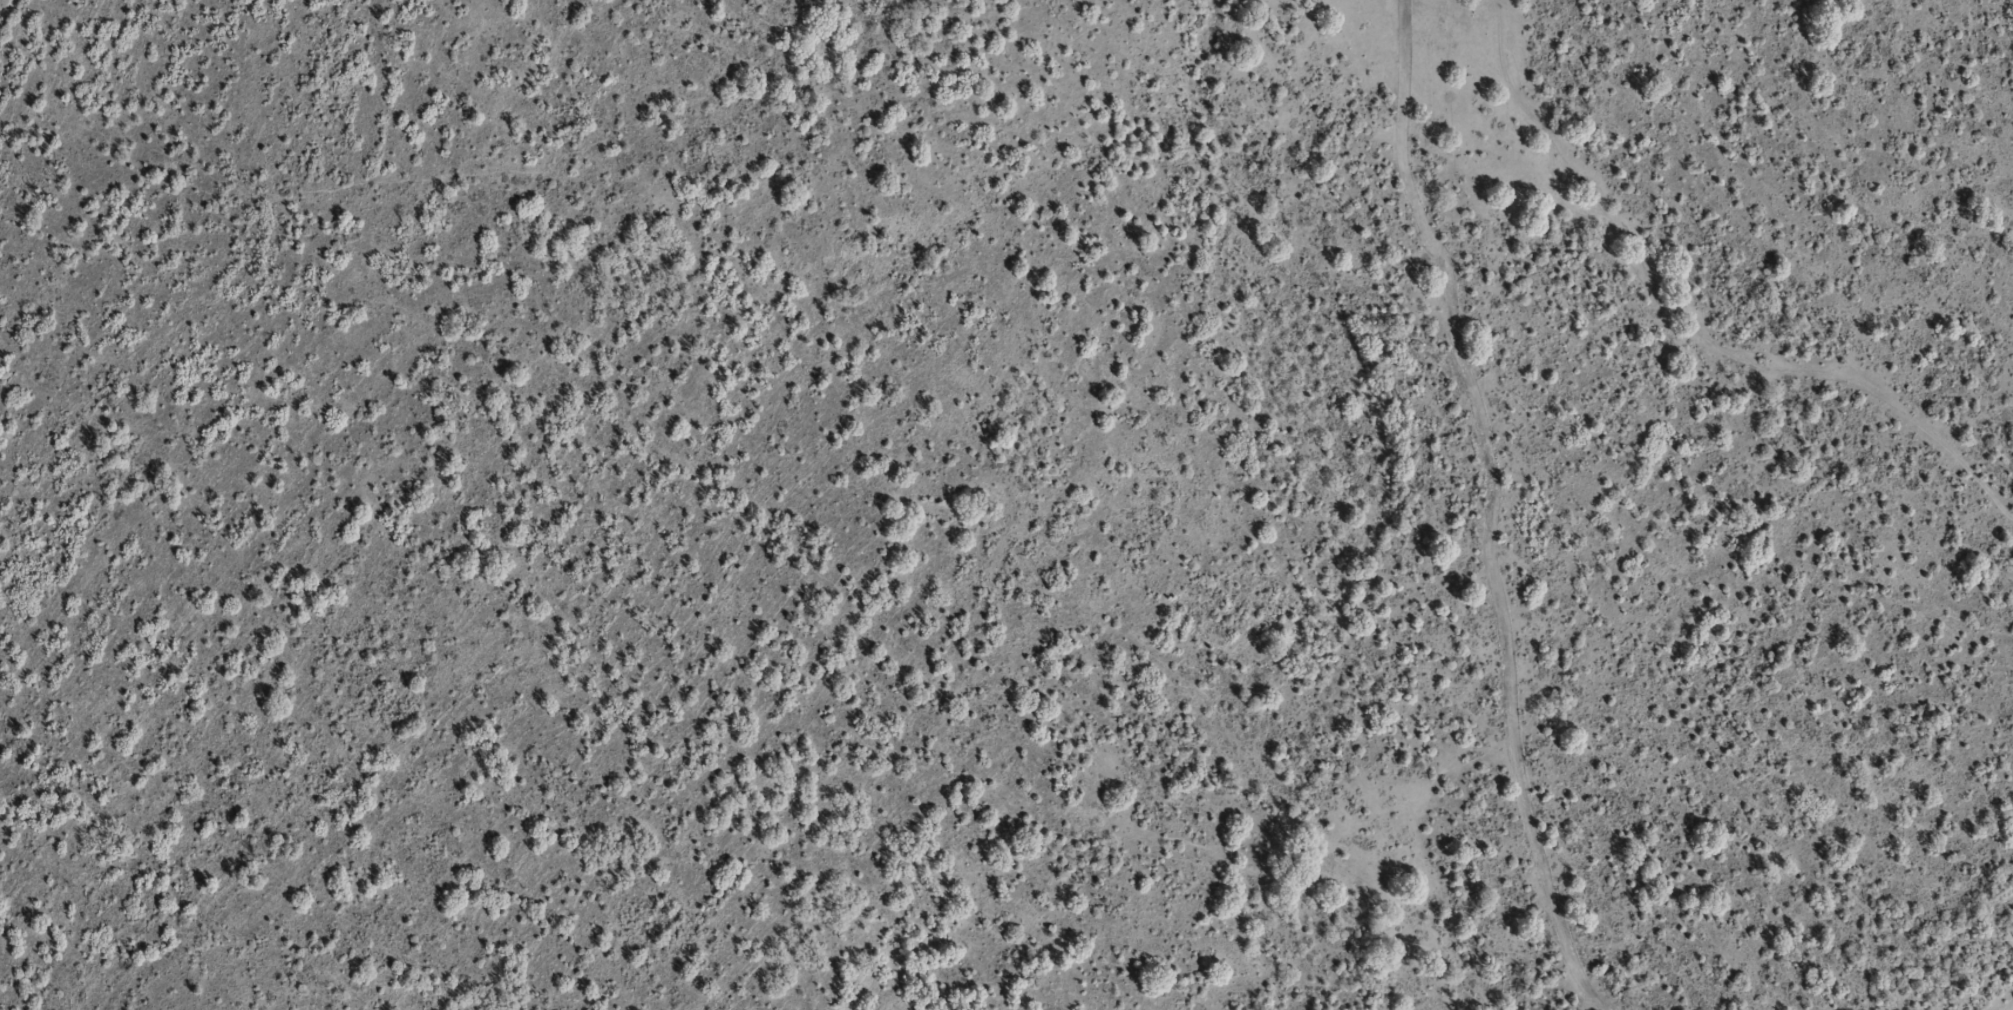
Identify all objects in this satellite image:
road: (1520, 502)

